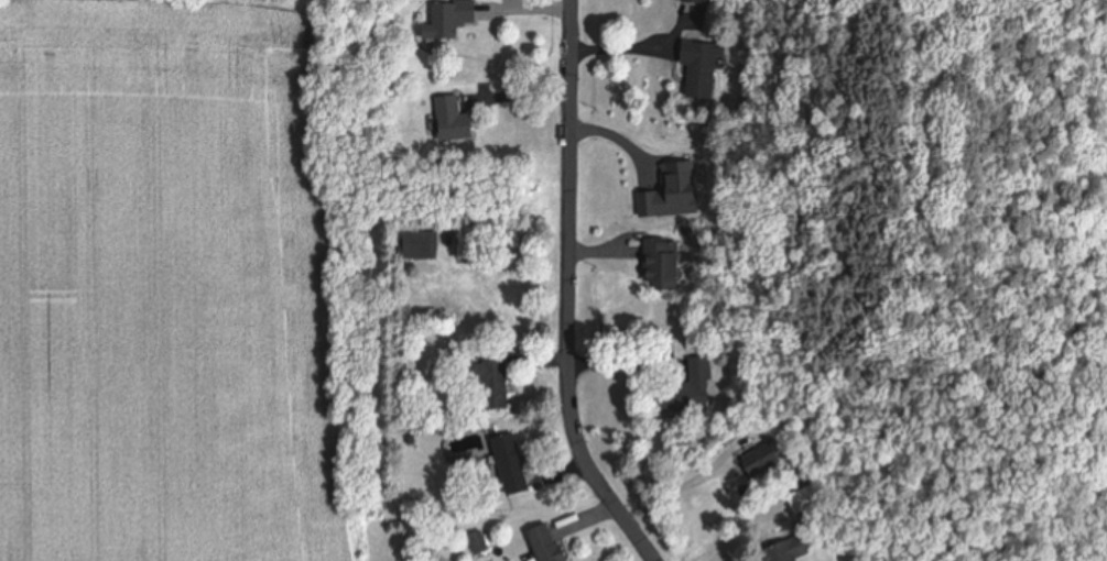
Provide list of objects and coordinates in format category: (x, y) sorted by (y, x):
building: (451, 19)
building: (698, 69)
building: (456, 120)
crop: (193, 284)
road: (567, 293)
building: (496, 382)
building: (761, 460)
building: (513, 465)
road: (674, 485)
building: (804, 498)
building: (550, 544)
building: (791, 550)

